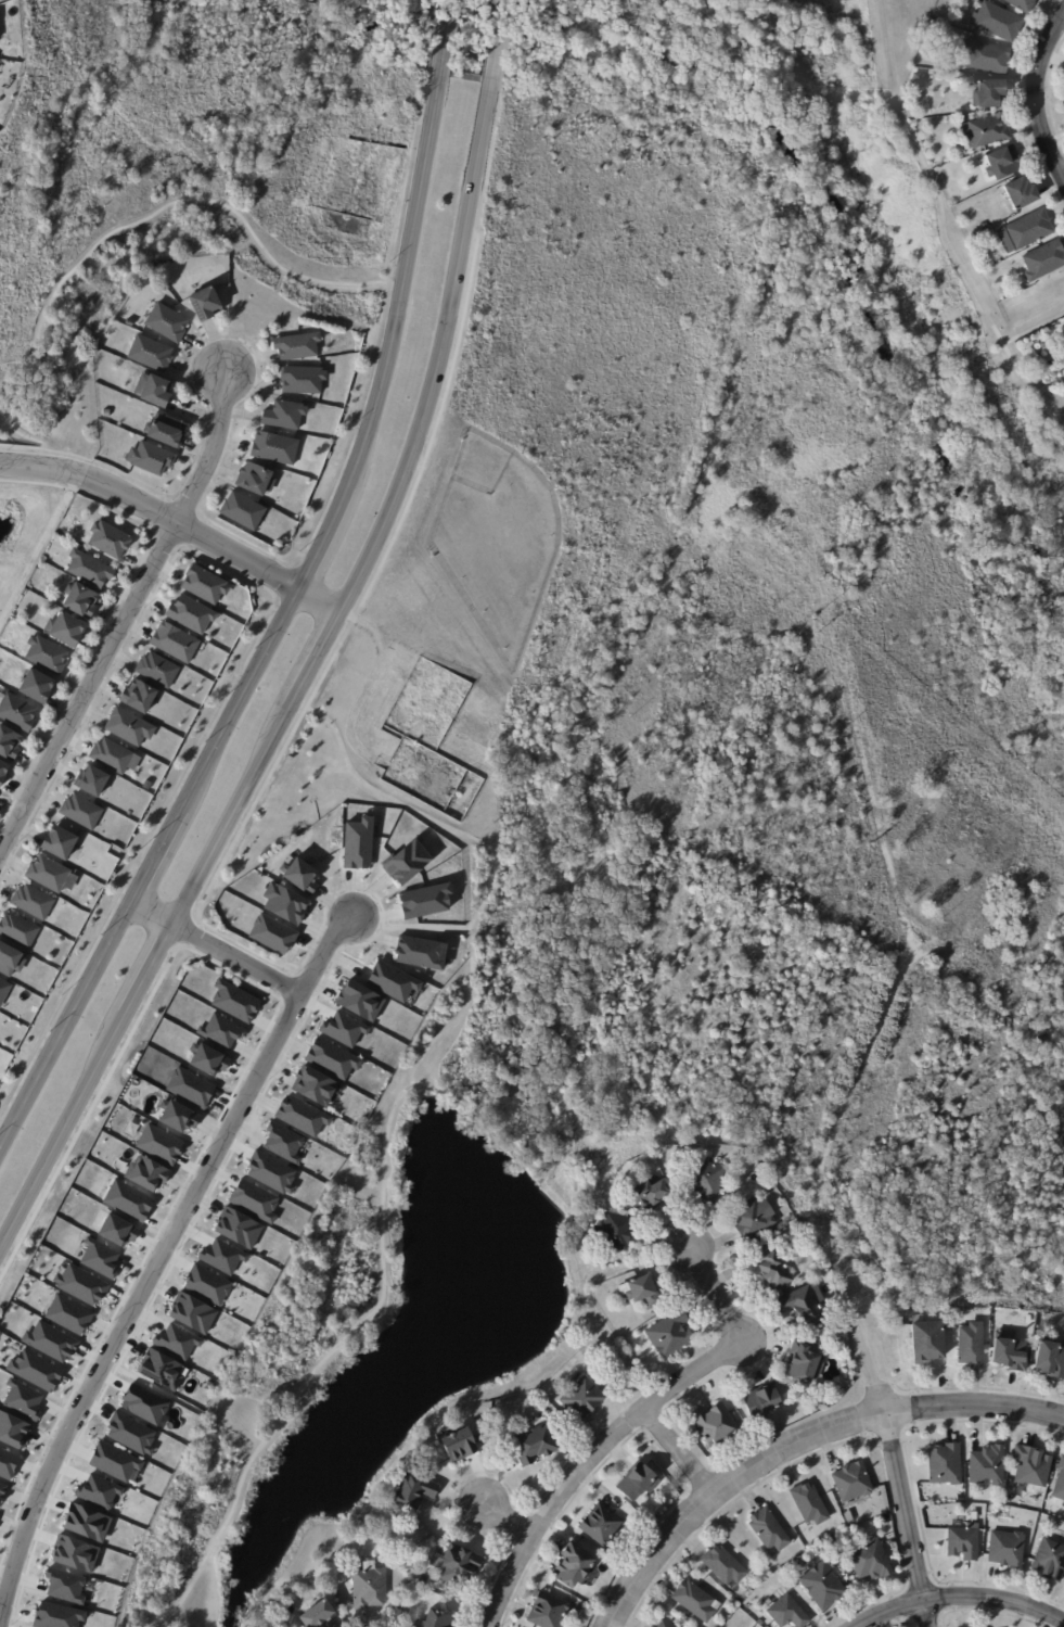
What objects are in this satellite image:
building: (1023, 4)
building: (998, 23)
road: (445, 37)
road: (497, 39)
building: (988, 56)
building: (919, 80)
building: (988, 92)
road: (1033, 103)
building: (985, 132)
building: (1002, 164)
building: (1021, 194)
park: (176, 196)
road: (169, 204)
road: (940, 205)
park: (886, 227)
building: (1030, 229)
building: (989, 236)
building: (1044, 260)
building: (153, 267)
building: (205, 304)
building: (167, 322)
building: (297, 346)
building: (150, 354)
building: (303, 380)
road: (1028, 385)
building: (153, 391)
building: (284, 416)
building: (166, 431)
road: (28, 438)
building: (274, 448)
building: (150, 459)
building: (255, 481)
building: (242, 511)
road: (174, 525)
building: (108, 538)
building: (89, 568)
building: (205, 584)
building: (79, 598)
road: (124, 612)
building: (190, 613)
building: (64, 626)
road: (275, 631)
building: (175, 641)
building: (46, 654)
building: (156, 669)
road: (302, 682)
building: (36, 686)
building: (138, 695)
building: (16, 711)
building: (128, 726)
building: (9, 742)
building: (114, 755)
building: (2, 771)
building: (92, 780)
building: (146, 785)
building: (80, 811)
building: (57, 840)
building: (359, 842)
road: (493, 860)
building: (408, 861)
building: (48, 873)
building: (303, 875)
building: (427, 900)
building: (31, 901)
building: (285, 903)
road: (408, 926)
building: (17, 930)
building: (273, 933)
road: (214, 946)
building: (421, 952)
building: (10, 959)
building: (394, 980)
building: (3, 991)
building: (234, 1000)
building: (360, 1001)
building: (344, 1028)
building: (221, 1030)
building: (206, 1058)
building: (332, 1058)
building: (315, 1085)
building: (190, 1086)
building: (178, 1116)
building: (303, 1116)
building: (283, 1142)
building: (159, 1143)
building: (146, 1172)
building: (271, 1172)
road: (820, 1173)
building: (706, 1181)
building: (648, 1193)
building: (128, 1199)
building: (254, 1200)
building: (753, 1218)
building: (239, 1228)
building: (118, 1230)
building: (615, 1231)
road: (381, 1236)
road: (158, 1251)
building: (223, 1256)
building: (100, 1258)
road: (630, 1263)
road: (586, 1267)
building: (772, 1269)
building: (81, 1284)
building: (207, 1284)
building: (642, 1292)
building: (805, 1304)
building: (193, 1313)
building: (68, 1314)
building: (825, 1327)
building: (670, 1334)
building: (50, 1340)
building: (177, 1342)
building: (927, 1343)
building: (972, 1346)
building: (1010, 1351)
building: (1051, 1359)
building: (804, 1364)
building: (162, 1369)
building: (36, 1370)
building: (23, 1398)
building: (581, 1398)
building: (762, 1400)
building: (145, 1404)
building: (715, 1424)
road: (625, 1425)
building: (13, 1429)
building: (131, 1433)
building: (486, 1435)
road: (797, 1438)
building: (459, 1446)
building: (535, 1446)
road: (680, 1452)
building: (115, 1461)
building: (8, 1463)
building: (945, 1464)
building: (988, 1465)
building: (1033, 1467)
building: (638, 1483)
building: (853, 1483)
building: (1060, 1483)
building: (2, 1490)
building: (98, 1491)
building: (414, 1491)
building: (961, 1499)
building: (809, 1504)
road: (499, 1507)
building: (654, 1518)
road: (907, 1520)
building: (87, 1522)
building: (601, 1526)
building: (769, 1530)
building: (835, 1540)
building: (963, 1545)
building: (1008, 1550)
building: (76, 1553)
building: (871, 1561)
building: (1051, 1561)
building: (460, 1566)
building: (723, 1566)
building: (574, 1567)
building: (425, 1580)
building: (65, 1585)
building: (823, 1587)
building: (370, 1588)
road: (963, 1600)
building: (696, 1602)
building: (548, 1612)
building: (789, 1613)
building: (57, 1615)
building: (320, 1617)
building: (439, 1620)
building: (665, 1625)
building: (653, 1626)

